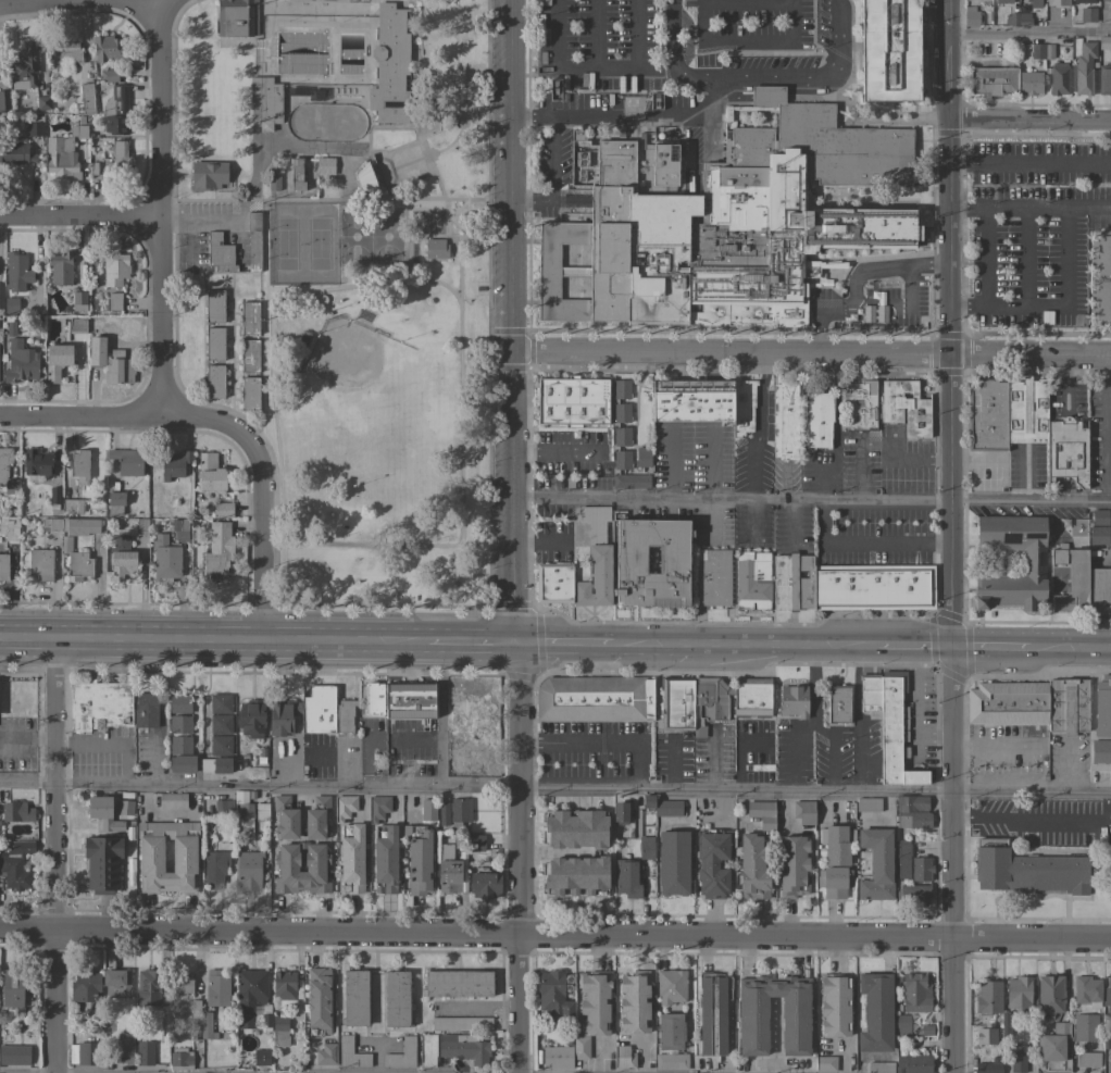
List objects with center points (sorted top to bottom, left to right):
building: (1002, 1)
building: (1031, 1)
building: (1082, 1)
building: (1059, 2)
road: (61, 3)
road: (315, 10)
building: (1087, 14)
building: (971, 16)
building: (236, 17)
building: (1018, 20)
road: (1028, 35)
road: (706, 40)
building: (1090, 42)
building: (1104, 42)
building: (107, 48)
building: (889, 50)
building: (1040, 51)
building: (62, 53)
building: (25, 64)
building: (390, 67)
road: (585, 67)
building: (109, 75)
building: (1058, 78)
building: (1083, 78)
building: (1104, 78)
building: (991, 80)
building: (1029, 83)
road: (759, 84)
building: (766, 96)
building: (86, 98)
building: (121, 99)
building: (266, 101)
building: (42, 102)
building: (4, 103)
road: (624, 110)
road: (1028, 117)
park: (325, 123)
building: (115, 125)
building: (35, 126)
road: (390, 128)
building: (78, 132)
building: (578, 138)
road: (444, 147)
building: (15, 153)
building: (61, 158)
building: (116, 159)
road: (408, 163)
road: (982, 164)
road: (1047, 164)
building: (325, 166)
road: (389, 170)
building: (296, 174)
road: (549, 174)
road: (180, 175)
building: (208, 175)
building: (366, 178)
building: (274, 179)
road: (394, 195)
road: (291, 200)
road: (464, 200)
road: (463, 203)
road: (1029, 209)
road: (79, 217)
road: (445, 219)
road: (447, 219)
road: (458, 219)
park: (425, 223)
building: (725, 223)
park: (385, 236)
park: (353, 237)
road: (433, 237)
building: (253, 241)
park: (285, 245)
park: (317, 245)
building: (435, 248)
building: (1102, 252)
building: (220, 253)
road: (1026, 266)
building: (114, 267)
road: (985, 267)
building: (60, 269)
building: (17, 273)
road: (232, 274)
road: (458, 276)
park: (345, 280)
building: (1, 295)
building: (78, 301)
building: (113, 301)
building: (1102, 301)
building: (11, 304)
road: (860, 304)
building: (214, 307)
road: (1050, 308)
building: (249, 317)
road: (515, 323)
road: (949, 324)
building: (77, 325)
building: (10, 328)
road: (174, 342)
building: (214, 344)
road: (230, 345)
building: (97, 351)
road: (813, 353)
road: (159, 355)
building: (249, 355)
park: (344, 355)
building: (57, 361)
building: (21, 362)
building: (118, 369)
building: (214, 382)
building: (249, 392)
building: (692, 400)
building: (571, 401)
building: (859, 404)
building: (742, 407)
building: (904, 407)
building: (1026, 410)
building: (987, 413)
road: (79, 416)
building: (785, 419)
building: (817, 419)
road: (1107, 427)
building: (623, 439)
building: (1066, 451)
building: (644, 453)
road: (917, 460)
building: (4, 461)
building: (127, 461)
building: (79, 464)
building: (174, 464)
building: (37, 465)
road: (858, 467)
building: (210, 473)
building: (12, 488)
building: (52, 497)
road: (813, 499)
building: (115, 503)
building: (73, 506)
building: (223, 510)
building: (141, 526)
building: (75, 527)
building: (1099, 527)
building: (9, 528)
building: (179, 529)
road: (460, 529)
road: (866, 545)
building: (216, 551)
building: (122, 557)
building: (165, 557)
building: (595, 559)
building: (673, 560)
building: (76, 561)
building: (1033, 562)
building: (40, 564)
building: (3, 566)
building: (712, 577)
building: (752, 581)
building: (1072, 581)
building: (792, 582)
building: (553, 583)
building: (873, 587)
building: (1099, 595)
road: (213, 641)
road: (471, 646)
road: (566, 647)
road: (649, 648)
road: (778, 648)
road: (912, 649)
road: (988, 650)
road: (1070, 651)
building: (870, 693)
building: (751, 696)
building: (594, 699)
building: (409, 701)
building: (792, 701)
building: (709, 702)
building: (179, 703)
building: (221, 703)
building: (676, 703)
building: (838, 703)
building: (1008, 703)
building: (100, 704)
building: (1066, 706)
building: (1102, 707)
building: (146, 710)
building: (319, 710)
building: (472, 711)
building: (345, 715)
building: (282, 716)
building: (374, 716)
building: (251, 718)
building: (180, 724)
building: (220, 724)
building: (845, 732)
building: (894, 733)
road: (101, 745)
building: (179, 745)
building: (220, 745)
road: (596, 746)
road: (419, 747)
building: (1100, 751)
building: (182, 763)
building: (215, 765)
road: (554, 789)
building: (172, 801)
building: (911, 803)
building: (867, 804)
building: (223, 806)
building: (244, 806)
building: (662, 806)
building: (344, 807)
building: (377, 807)
building: (125, 808)
building: (428, 810)
building: (16, 811)
building: (459, 811)
building: (803, 811)
building: (102, 812)
building: (261, 812)
building: (620, 812)
building: (442, 813)
building: (761, 813)
building: (285, 816)
building: (316, 818)
road: (1040, 819)
building: (914, 821)
building: (460, 840)
building: (836, 844)
building: (557, 846)
building: (227, 847)
building: (646, 847)
building: (150, 856)
building: (445, 856)
road: (52, 857)
building: (351, 858)
building: (385, 859)
building: (419, 859)
building: (902, 859)
road: (515, 860)
road: (951, 861)
building: (102, 862)
building: (712, 862)
building: (673, 863)
building: (876, 864)
building: (16, 865)
building: (316, 866)
building: (753, 866)
building: (792, 866)
building: (214, 868)
building: (920, 868)
building: (1026, 870)
building: (248, 871)
building: (449, 875)
building: (627, 877)
building: (555, 879)
building: (834, 881)
building: (484, 884)
building: (913, 894)
road: (555, 935)
building: (897, 978)
building: (116, 983)
building: (457, 983)
building: (184, 984)
building: (671, 986)
building: (12, 987)
building: (148, 987)
building: (216, 988)
building: (285, 989)
building: (87, 990)
building: (1086, 990)
building: (915, 993)
building: (1018, 993)
building: (250, 994)
building: (553, 996)
building: (1049, 996)
building: (988, 997)
building: (354, 998)
building: (1108, 998)
building: (397, 999)
building: (319, 1001)
building: (634, 1002)
building: (834, 1003)
building: (194, 1007)
building: (752, 1007)
building: (897, 1008)
building: (591, 1009)
building: (875, 1012)
building: (712, 1013)
building: (265, 1018)
building: (462, 1024)
building: (901, 1024)
building: (1006, 1024)
building: (205, 1026)
building: (1083, 1027)
building: (92, 1028)
building: (670, 1031)
building: (926, 1031)
building: (279, 1032)
building: (195, 1033)
building: (985, 1035)
building: (187, 1044)
building: (124, 1048)
building: (463, 1048)
building: (1052, 1048)
building: (428, 1049)
building: (145, 1052)
building: (84, 1053)
building: (350, 1053)
building: (14, 1055)
building: (325, 1055)
building: (402, 1055)
building: (261, 1057)
building: (557, 1057)
building: (623, 1058)
building: (1016, 1058)
building: (180, 1059)
building: (1086, 1060)
building: (671, 1061)
building: (824, 1063)
building: (913, 1063)
building: (879, 1066)
building: (987, 1068)

